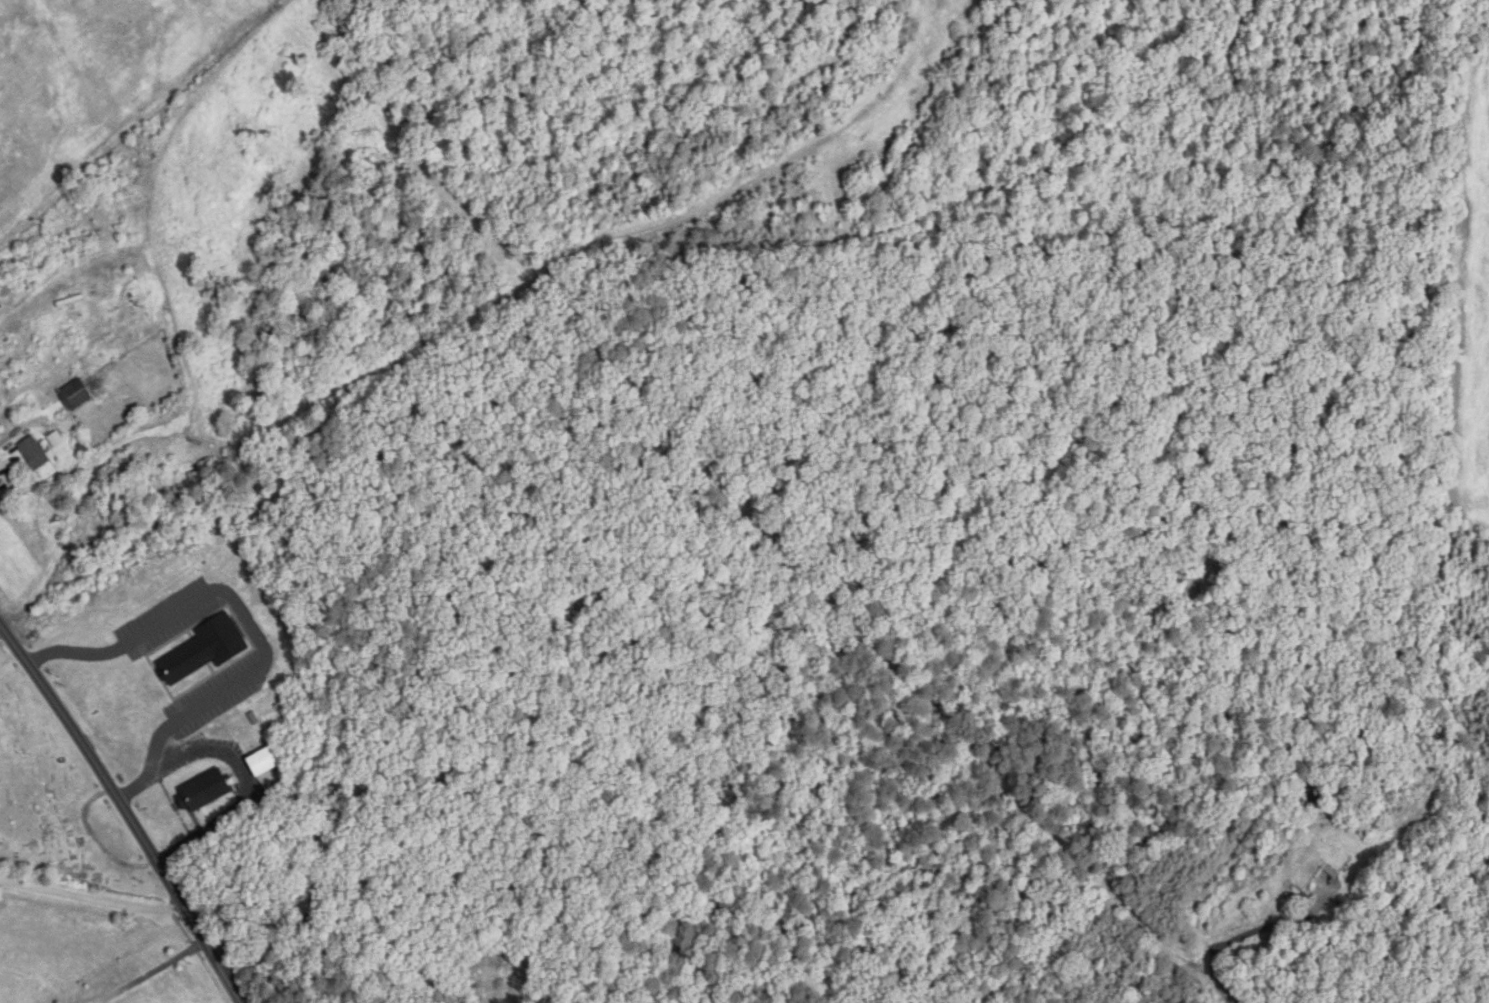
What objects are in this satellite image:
building: (76, 395)
road: (4, 441)
building: (34, 453)
road: (250, 619)
building: (263, 762)
building: (205, 791)
building: (1316, 794)
road: (125, 809)
road: (92, 898)
road: (1244, 935)
road: (153, 972)

